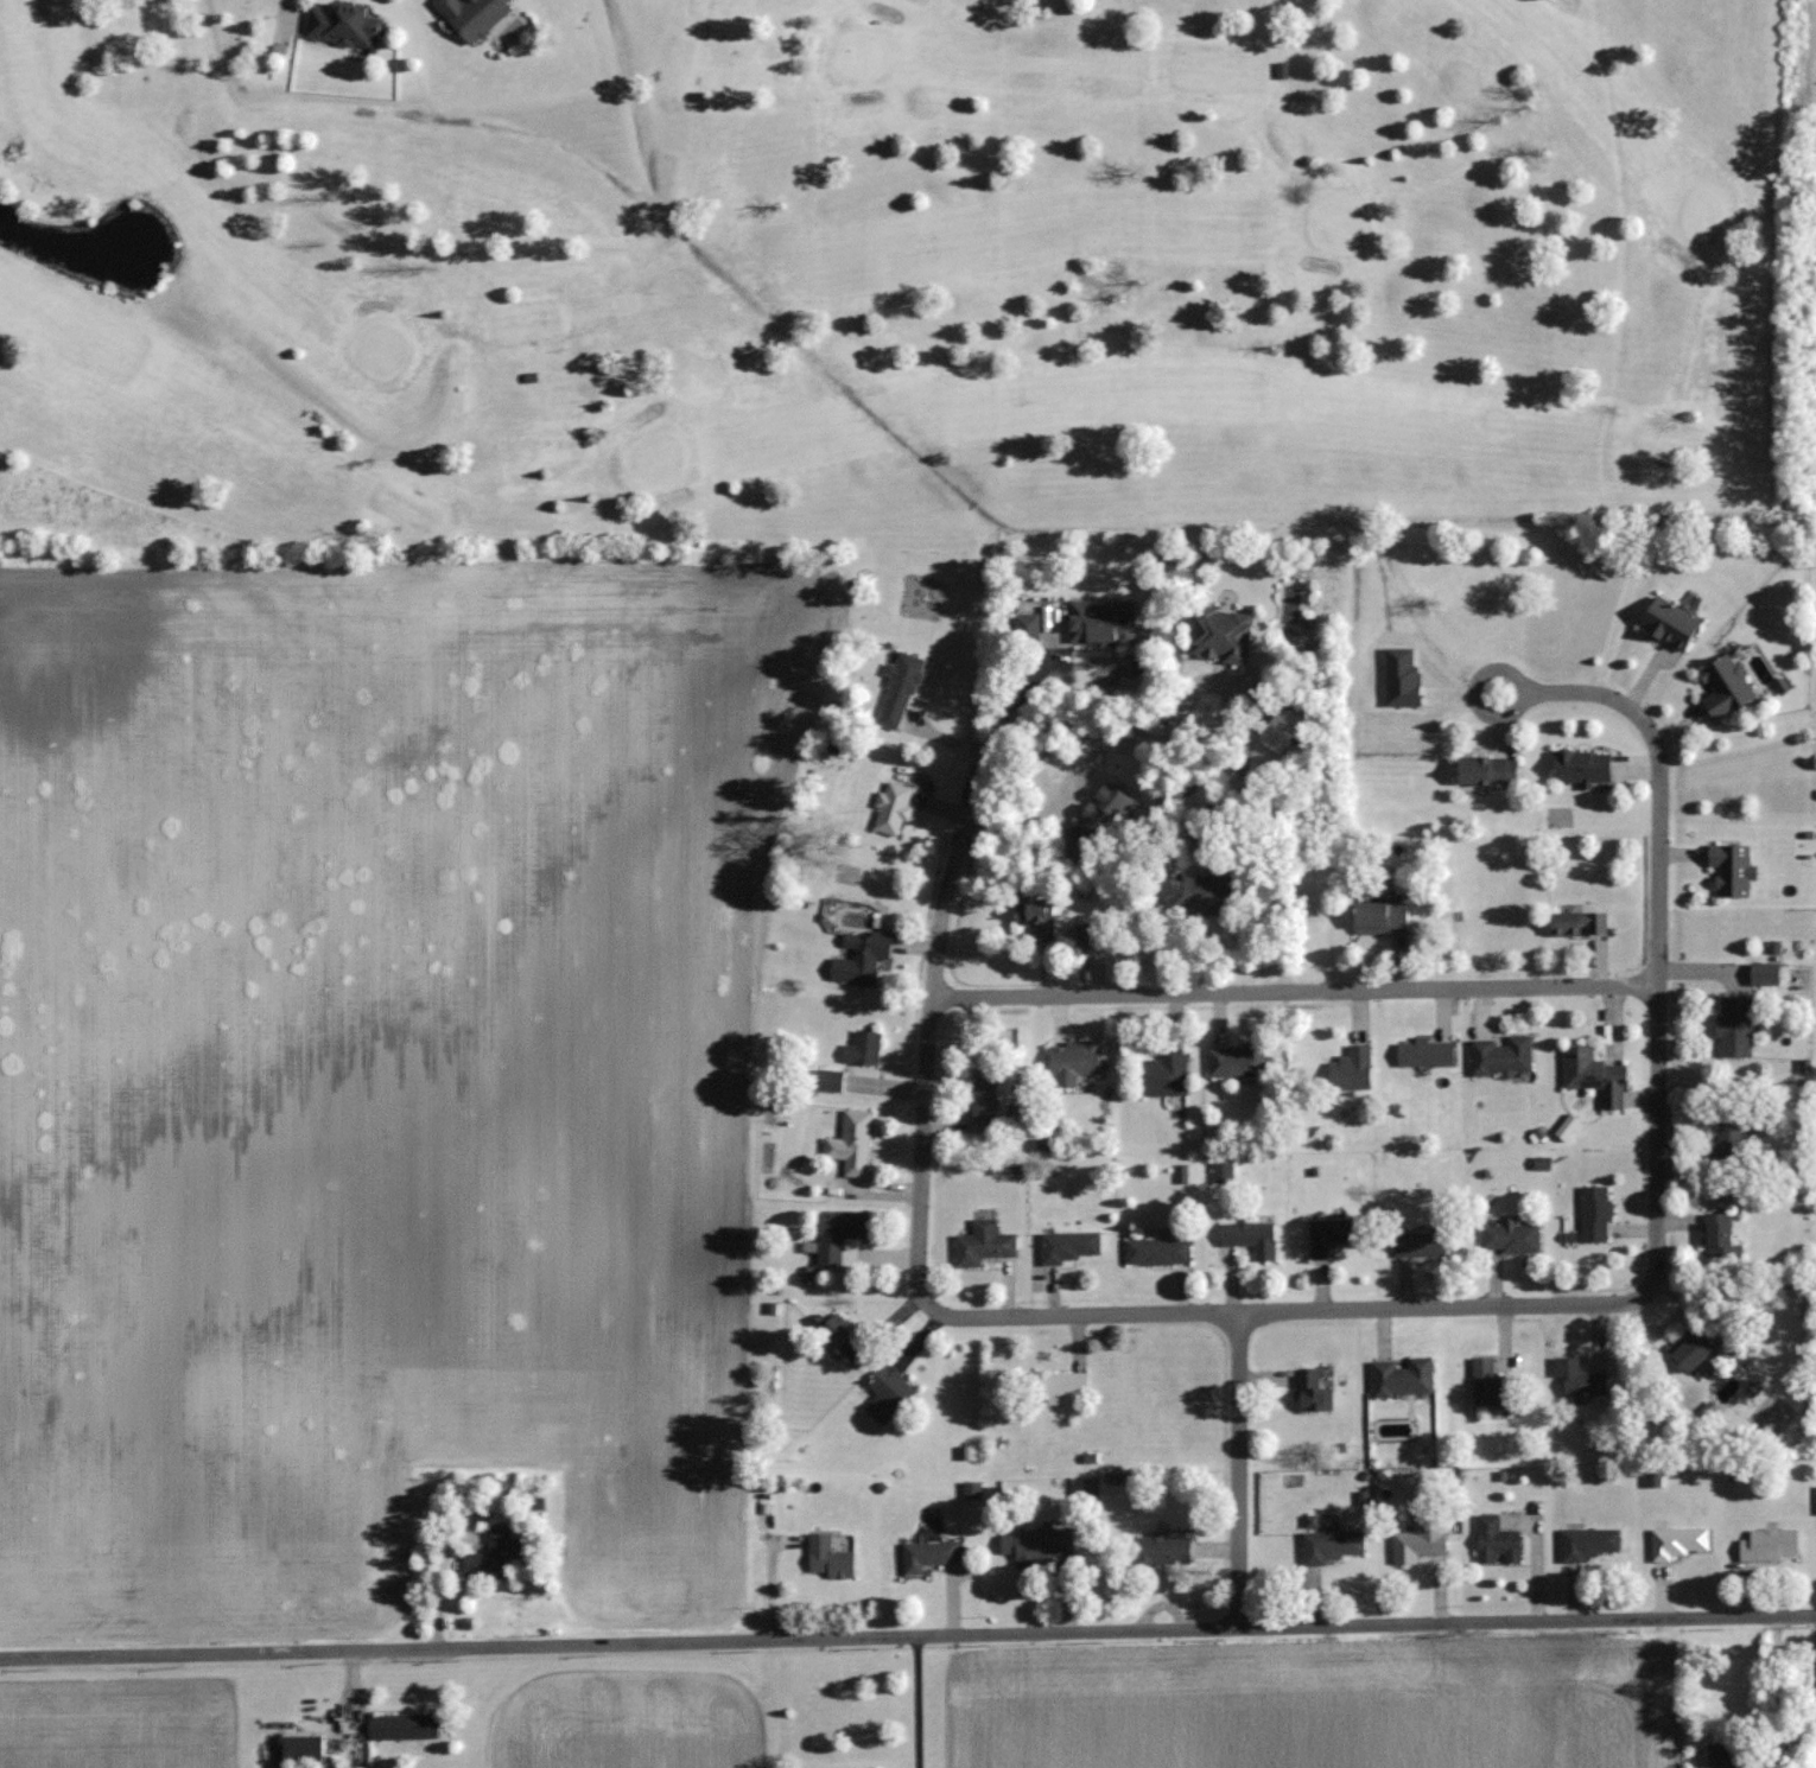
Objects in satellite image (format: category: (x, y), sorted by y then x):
building: (471, 14)
building: (341, 23)
building: (1099, 622)
building: (1668, 623)
building: (1026, 629)
building: (1219, 632)
road: (1473, 681)
building: (1723, 686)
building: (897, 688)
road: (1596, 693)
building: (1580, 765)
building: (1485, 769)
building: (890, 807)
building: (1097, 820)
road: (960, 826)
building: (1731, 869)
building: (1194, 895)
building: (1035, 916)
building: (1378, 916)
building: (1577, 923)
building: (1087, 937)
building: (858, 958)
building: (1763, 974)
road: (1295, 988)
road: (1657, 1024)
building: (1734, 1026)
building: (863, 1048)
building: (1424, 1051)
building: (1500, 1056)
building: (1072, 1061)
building: (1236, 1061)
building: (1350, 1068)
building: (1163, 1075)
building: (1593, 1075)
building: (827, 1080)
building: (980, 1106)
building: (850, 1141)
building: (1727, 1143)
building: (1593, 1214)
building: (836, 1234)
building: (1327, 1235)
building: (1717, 1235)
building: (1249, 1236)
building: (1509, 1236)
building: (1417, 1242)
building: (982, 1244)
building: (1066, 1246)
building: (1156, 1251)
road: (1271, 1310)
building: (844, 1338)
building: (1694, 1348)
building: (1401, 1376)
building: (1579, 1379)
building: (1488, 1382)
building: (1059, 1384)
building: (1310, 1391)
building: (887, 1394)
road: (1239, 1469)
building: (1418, 1540)
building: (1496, 1540)
building: (1678, 1541)
building: (1037, 1543)
building: (1588, 1543)
building: (1767, 1544)
building: (1331, 1546)
building: (1161, 1550)
building: (493, 1552)
building: (926, 1554)
building: (827, 1557)
road: (907, 1634)
road: (1773, 1692)
road: (915, 1700)
building: (401, 1726)
building: (301, 1745)
building: (1725, 1757)

